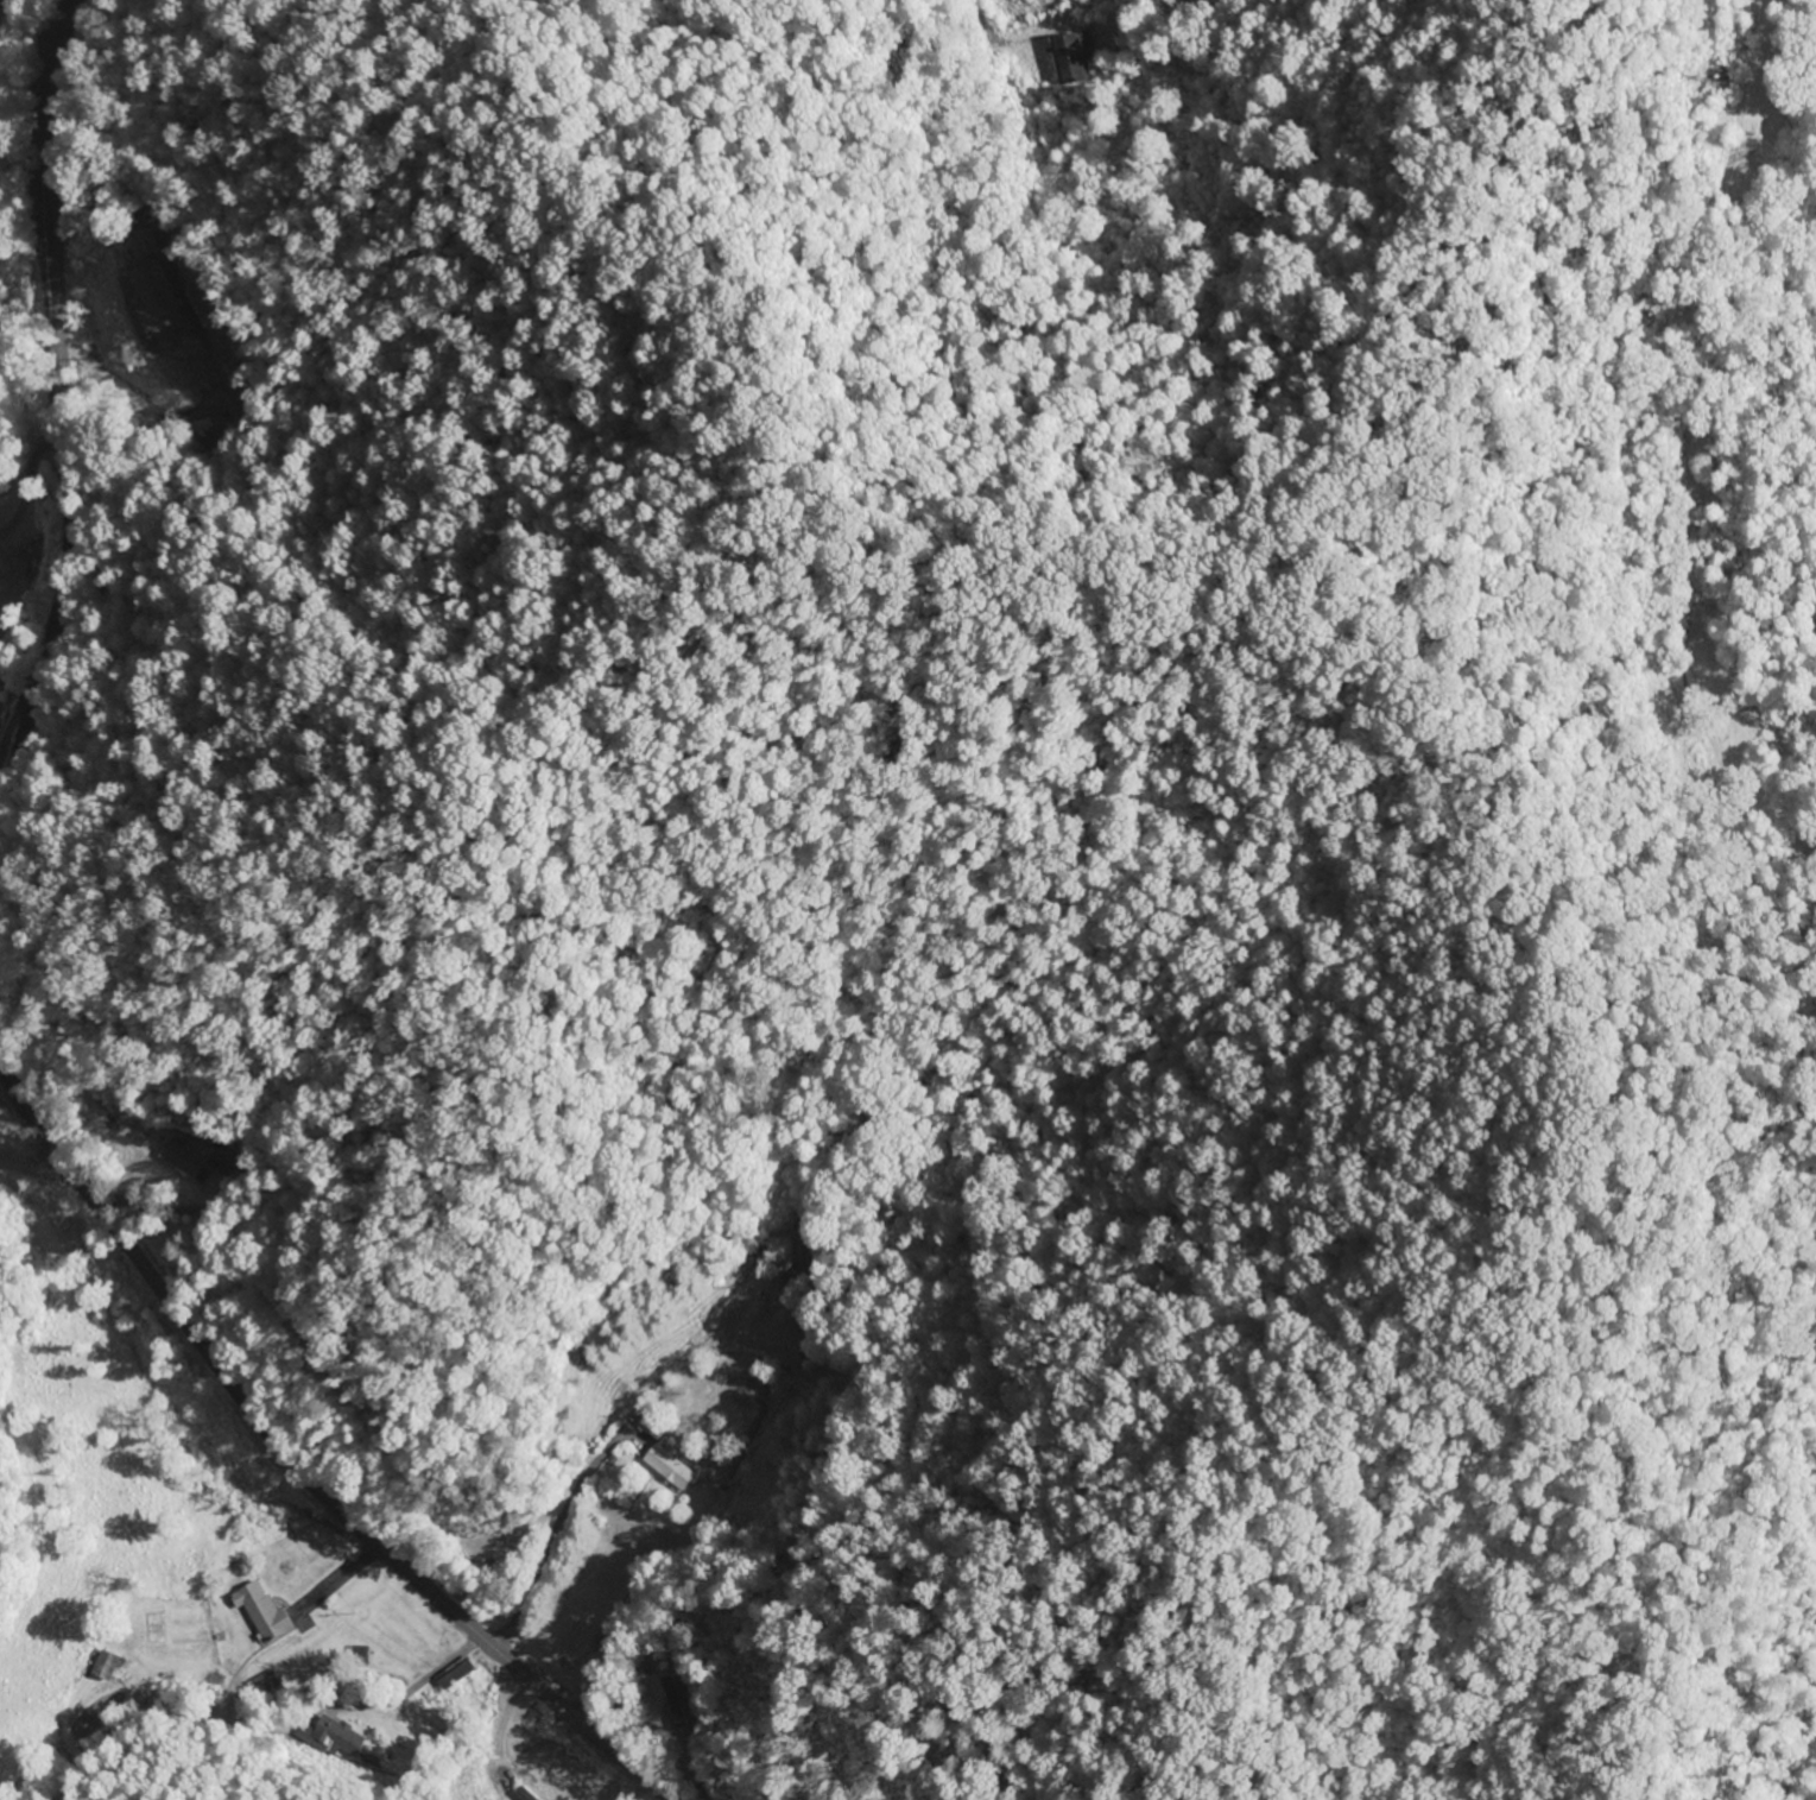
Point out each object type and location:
building: (1071, 57)
road: (68, 431)
building: (182, 1157)
road: (46, 1238)
building: (778, 1263)
road: (289, 1457)
building: (666, 1467)
building: (259, 1612)
building: (100, 1667)
building: (664, 1711)

